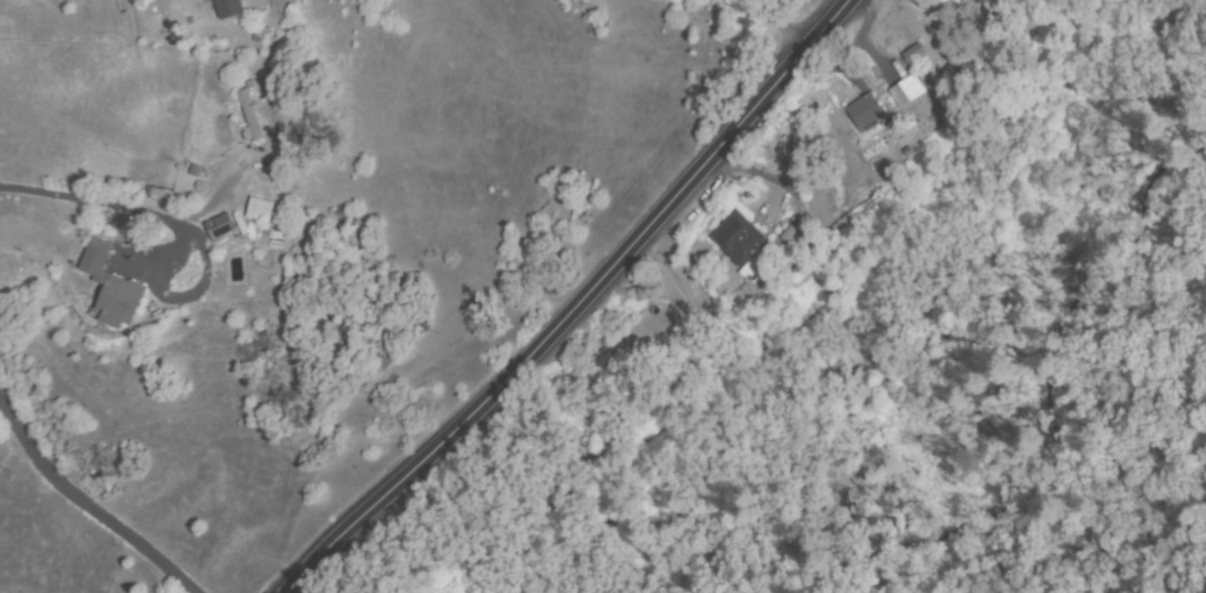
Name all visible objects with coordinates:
building: (230, 12)
building: (914, 52)
building: (956, 86)
building: (908, 91)
building: (865, 112)
building: (249, 115)
building: (259, 210)
building: (209, 223)
building: (220, 227)
building: (800, 233)
building: (741, 243)
building: (86, 255)
building: (111, 287)
road: (576, 303)
building: (605, 360)
road: (87, 512)

